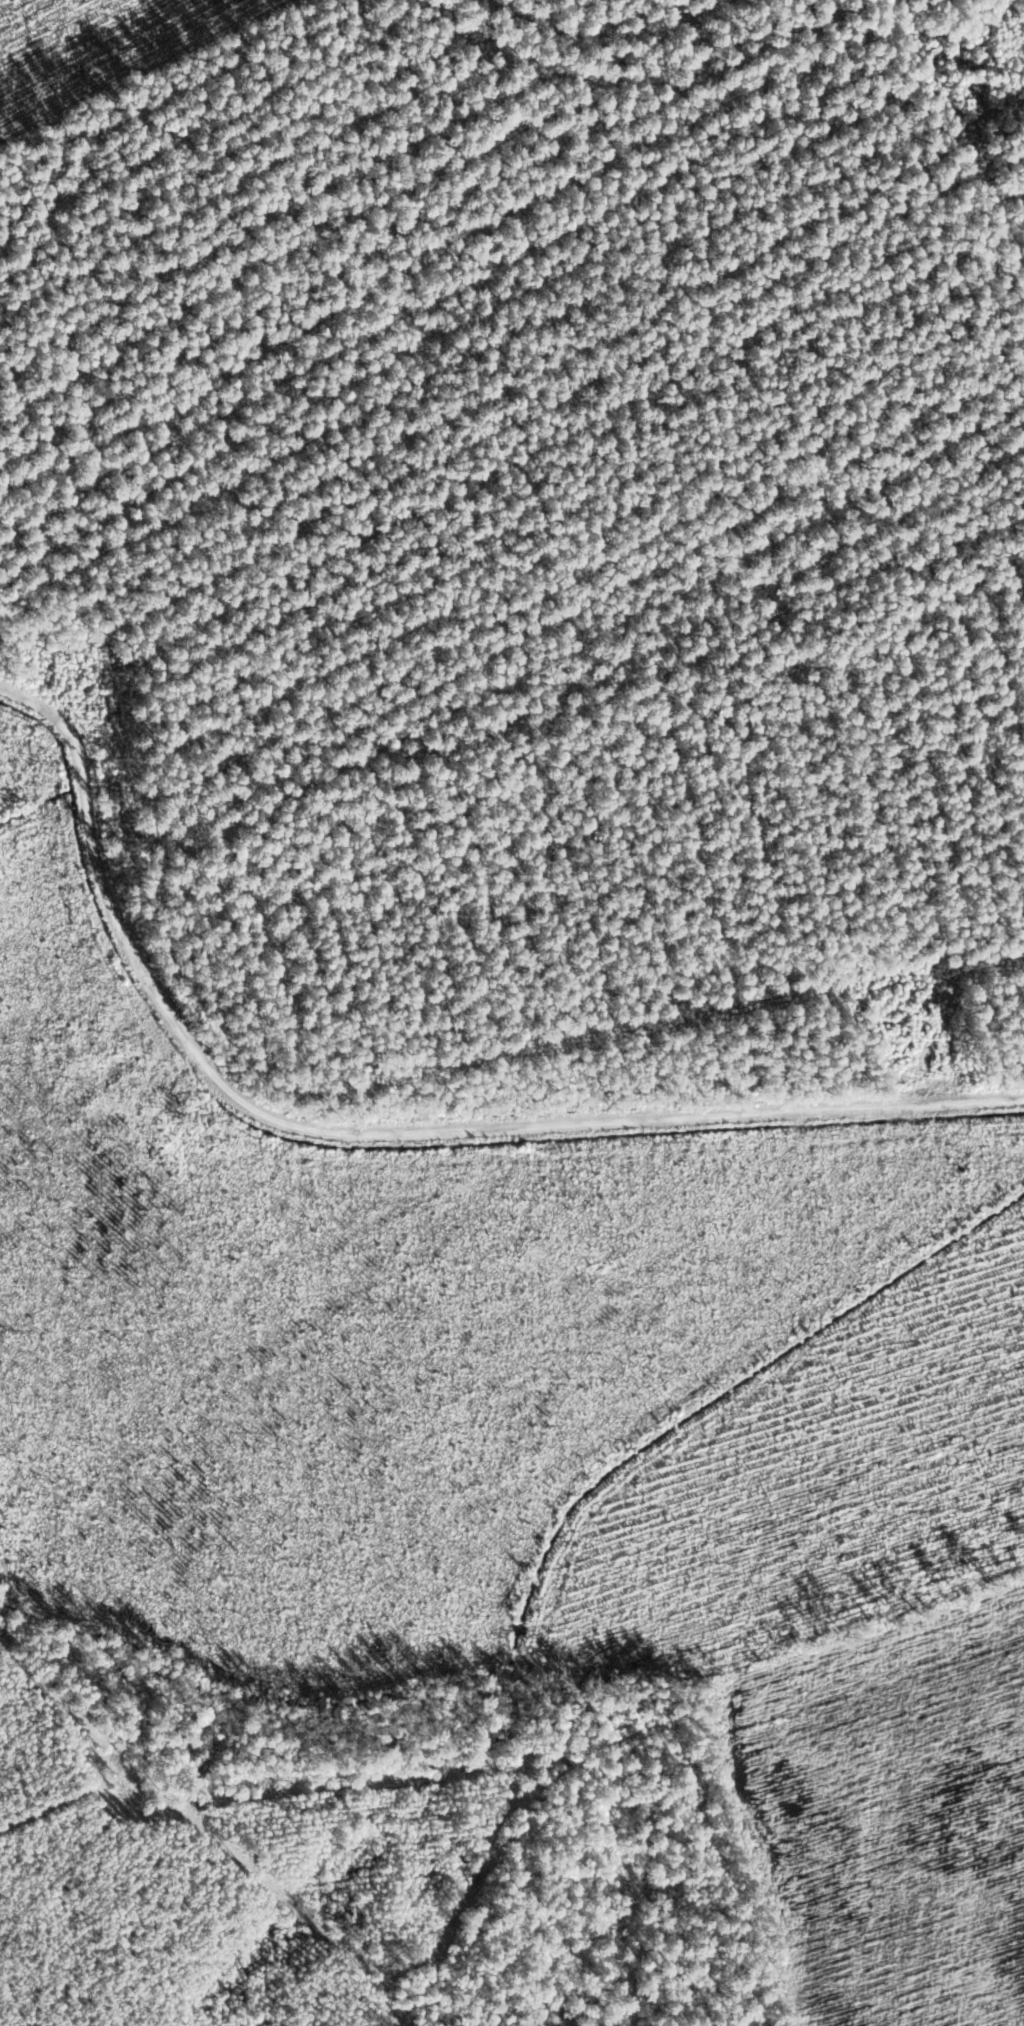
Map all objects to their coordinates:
road: (476, 1068)

